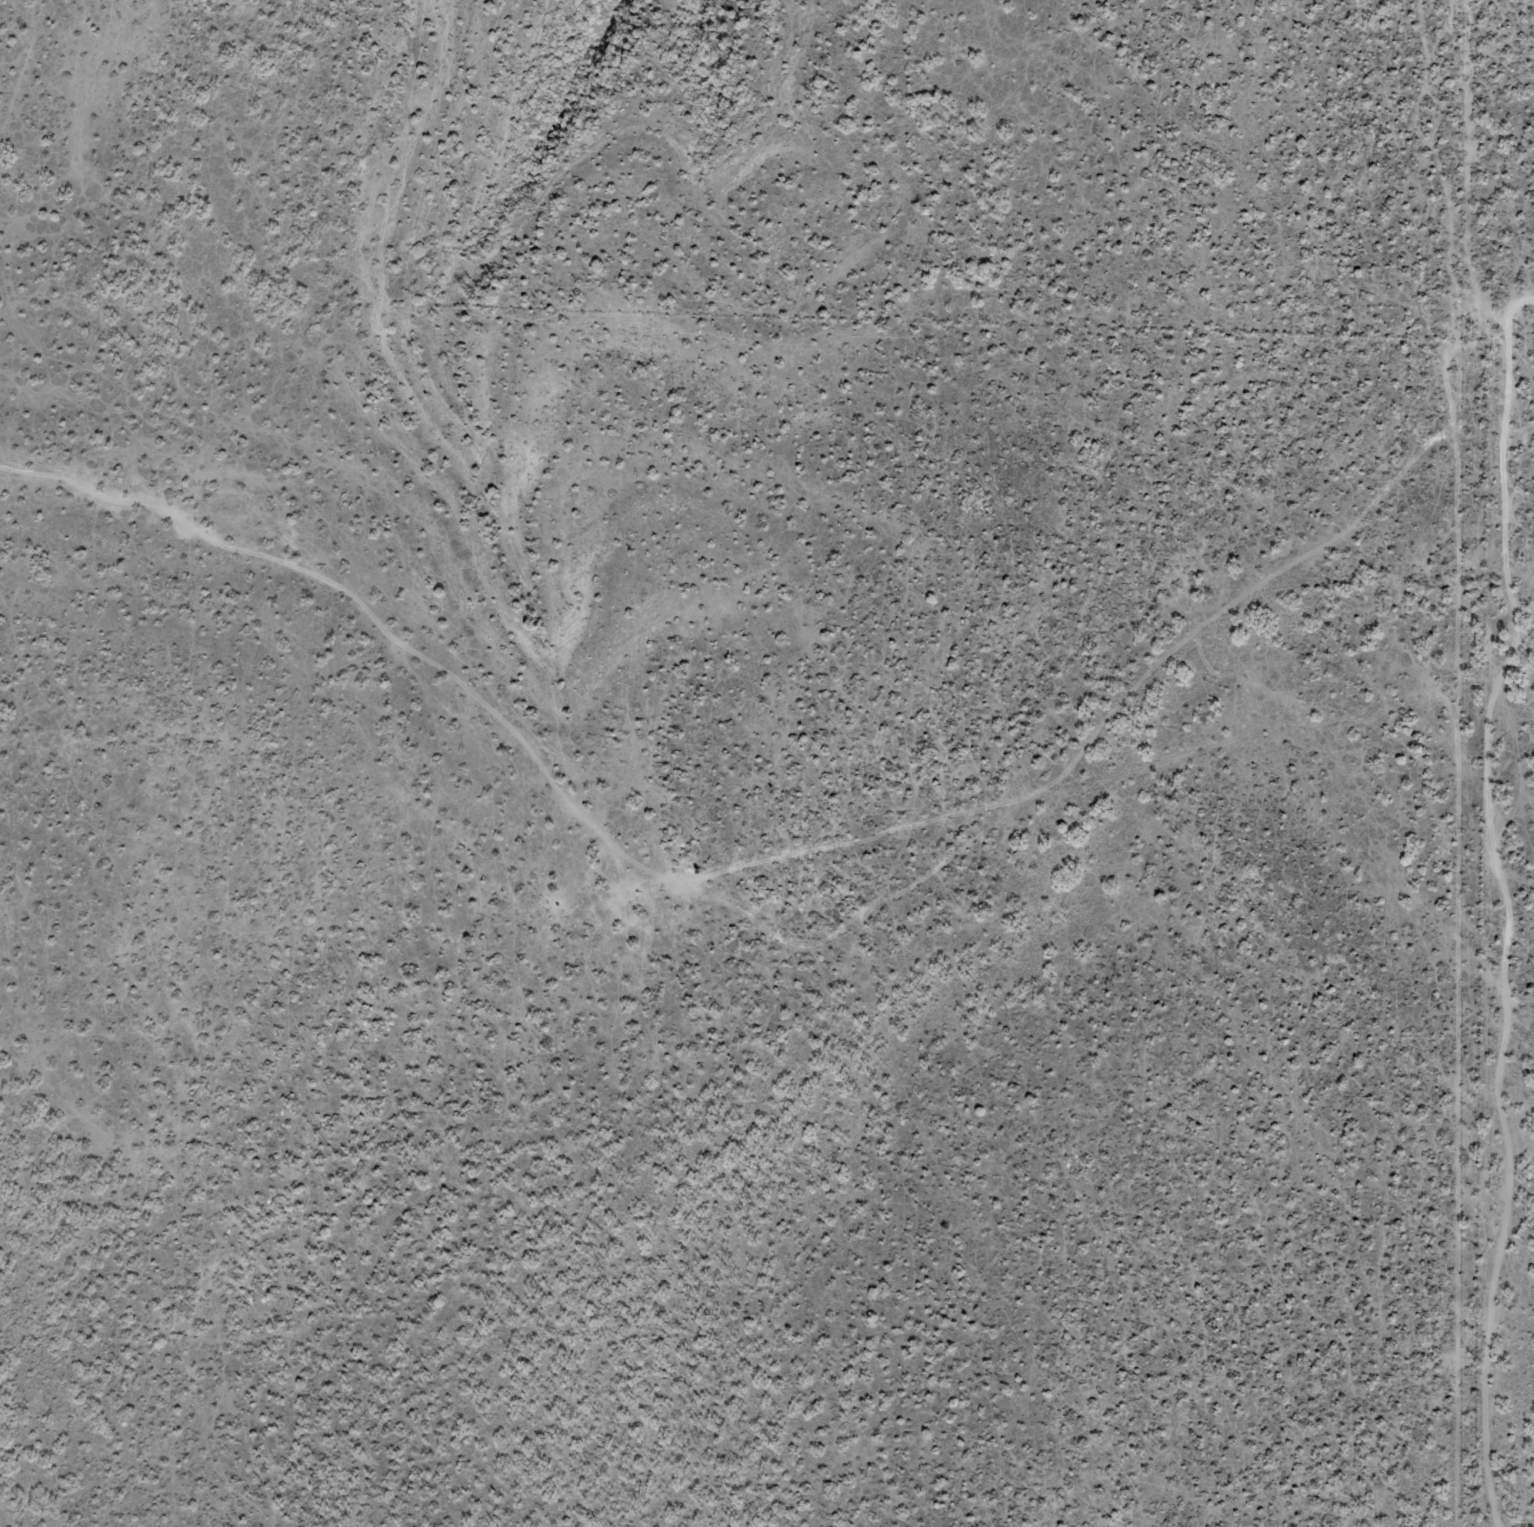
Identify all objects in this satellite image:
road: (819, 912)

